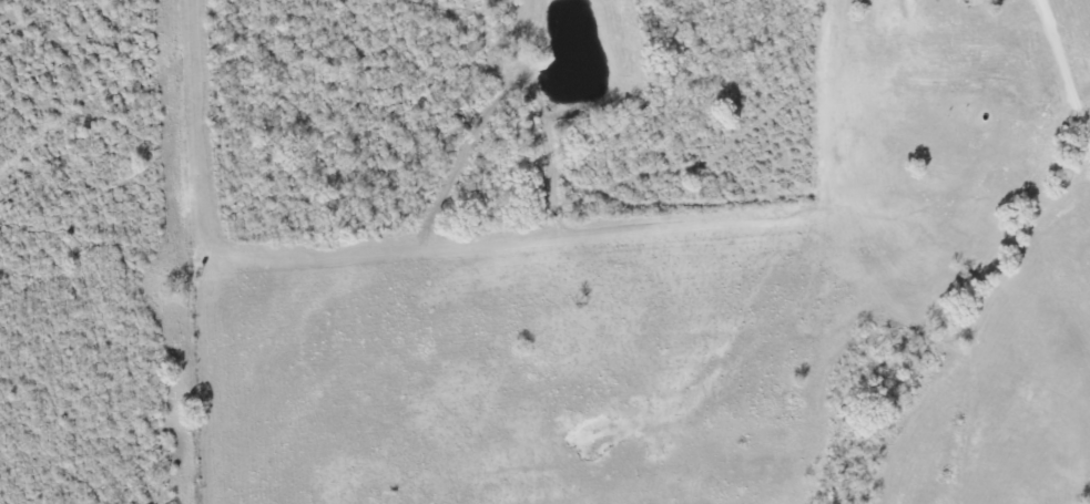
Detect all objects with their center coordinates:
road: (1064, 70)

